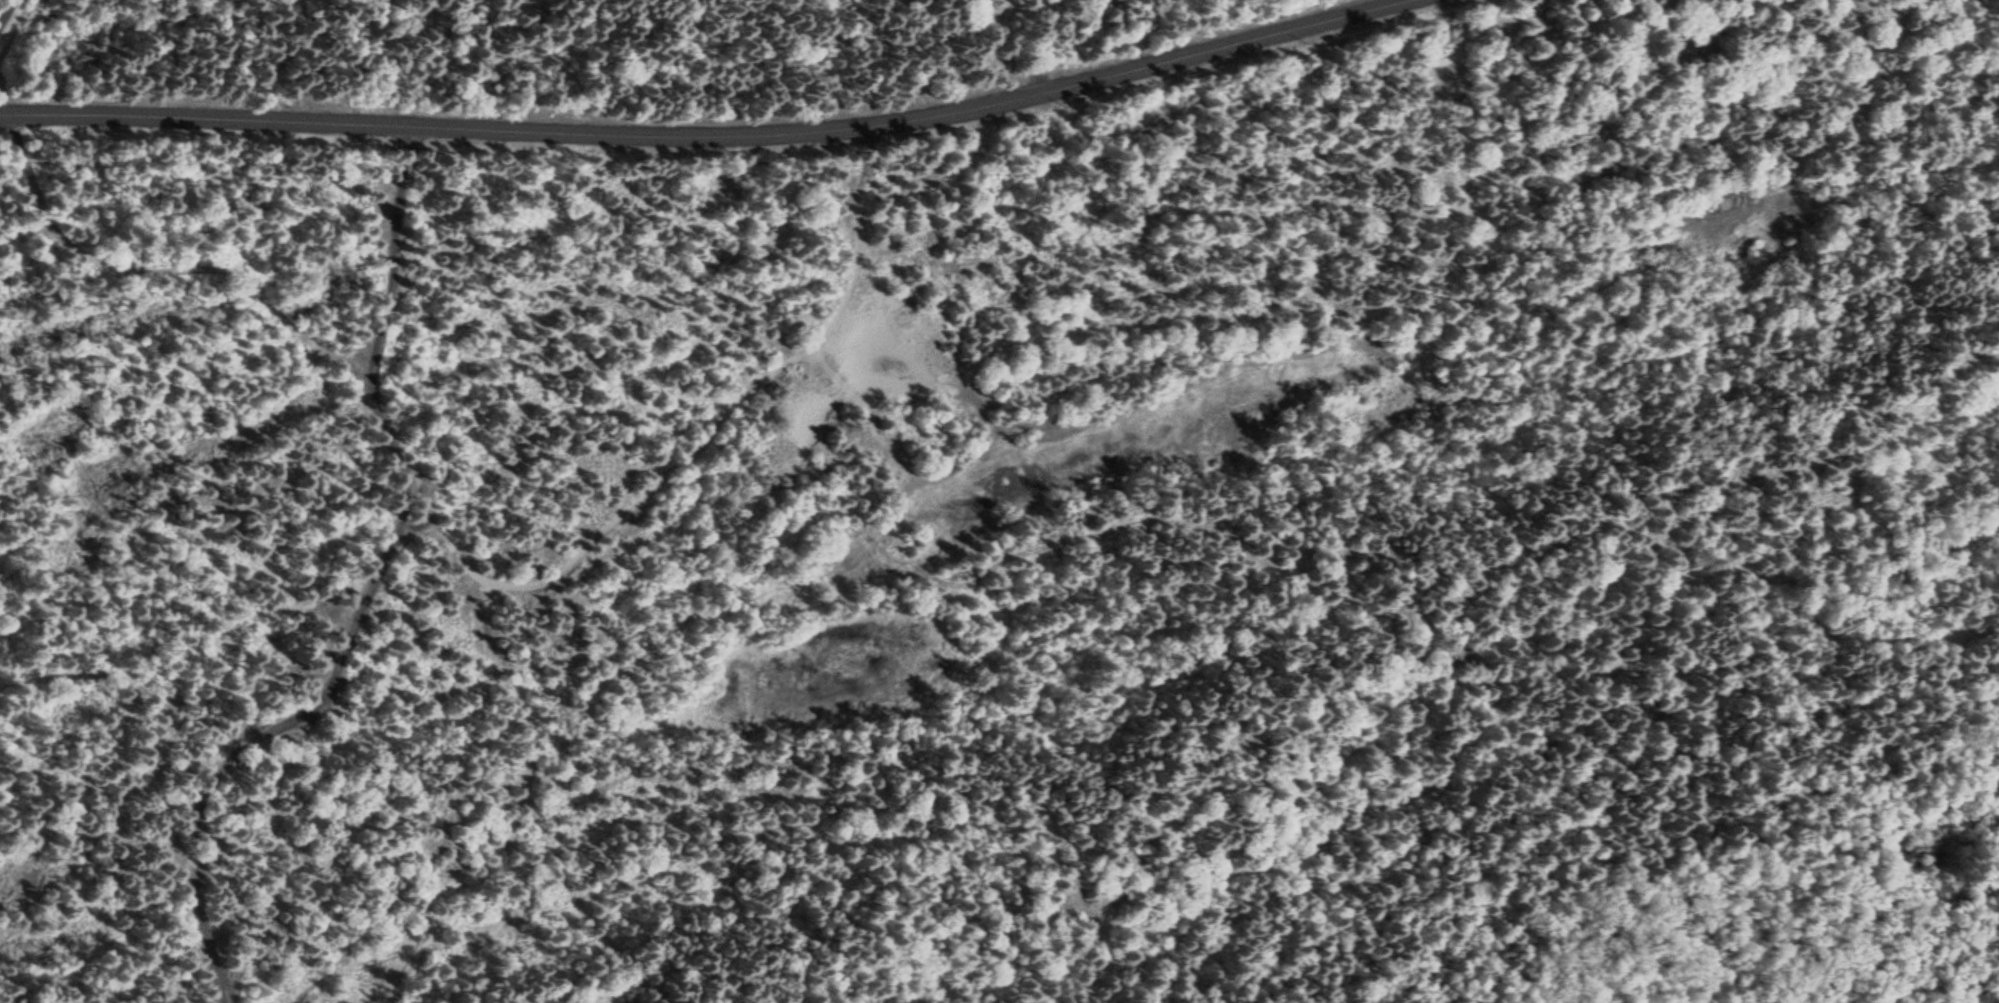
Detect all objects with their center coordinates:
road: (3, 6)
road: (709, 130)

